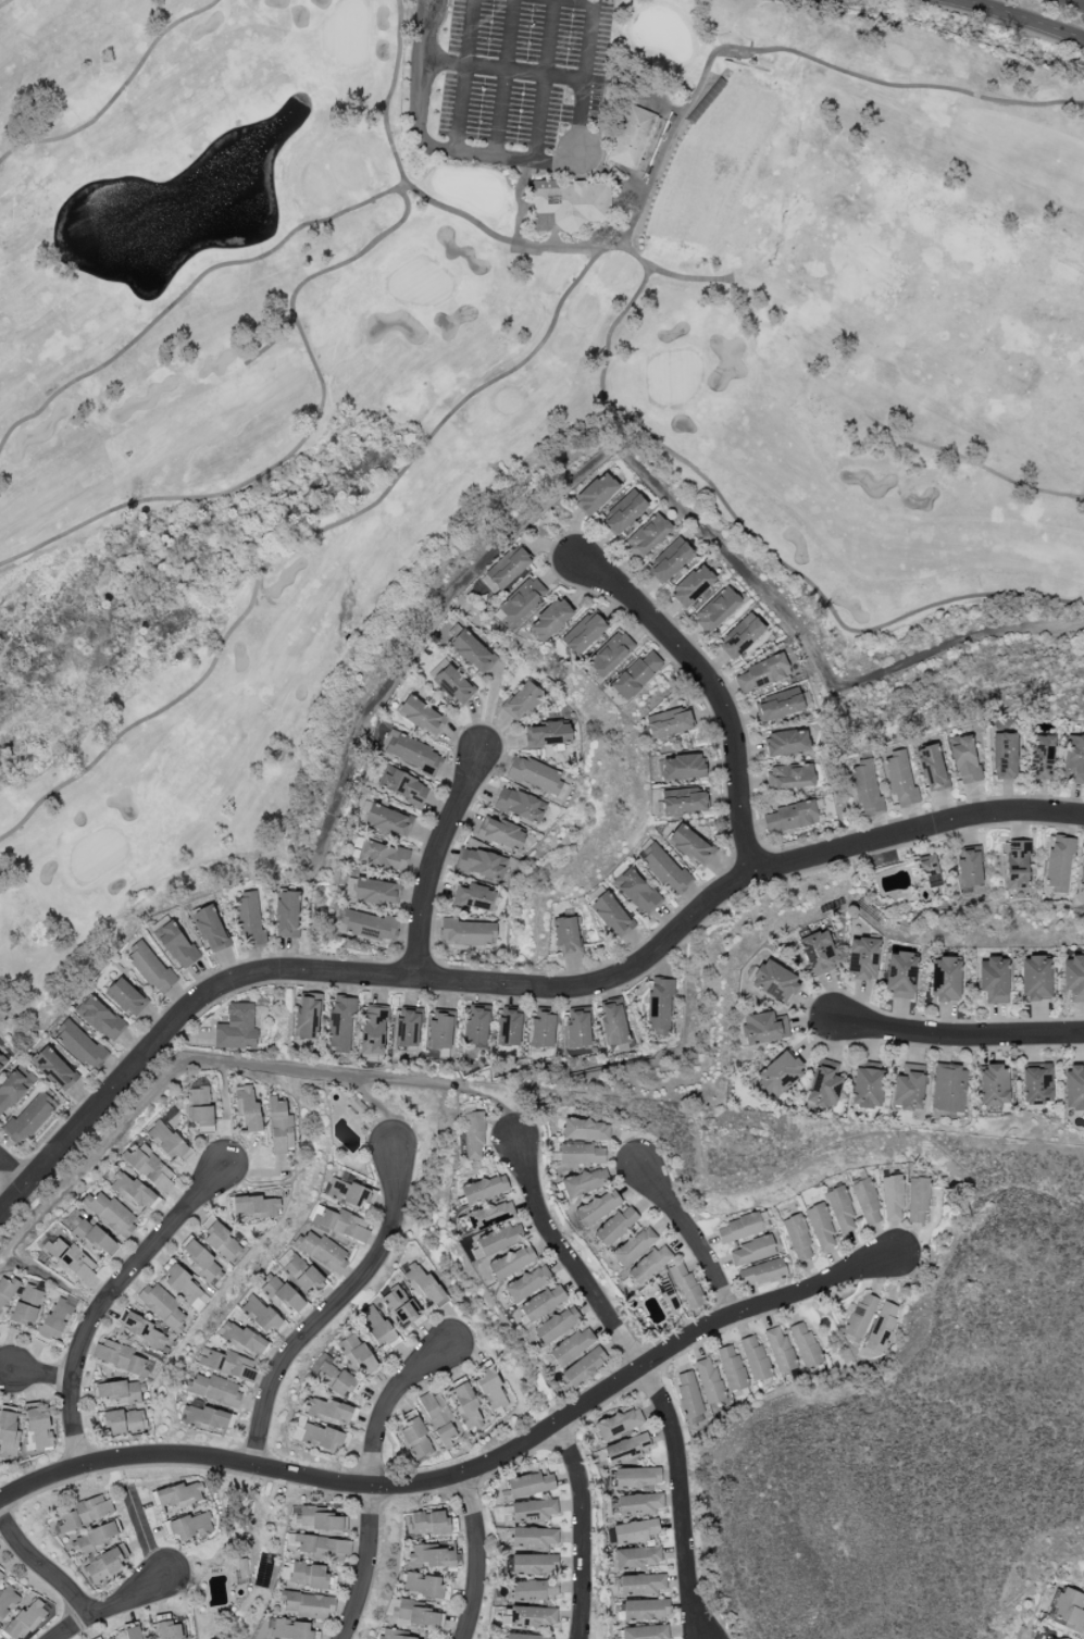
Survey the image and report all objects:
road: (583, 1)
road: (1074, 2)
road: (1020, 17)
road: (507, 70)
road: (461, 75)
road: (502, 77)
road: (543, 80)
road: (583, 84)
building: (632, 137)
road: (431, 141)
building: (568, 206)
park: (502, 375)
building: (596, 494)
building: (624, 513)
building: (647, 536)
building: (669, 560)
building: (507, 568)
building: (691, 586)
building: (521, 600)
building: (717, 609)
building: (549, 620)
building: (583, 634)
building: (742, 636)
building: (472, 651)
building: (608, 654)
building: (762, 673)
building: (633, 676)
road: (709, 683)
building: (453, 685)
building: (522, 701)
building: (782, 704)
building: (662, 715)
building: (421, 716)
building: (670, 727)
building: (549, 735)
building: (786, 743)
building: (411, 753)
building: (1004, 756)
building: (1042, 758)
building: (964, 759)
building: (1073, 759)
building: (683, 767)
building: (931, 768)
building: (534, 775)
building: (790, 778)
building: (900, 780)
building: (404, 787)
building: (865, 790)
building: (684, 800)
building: (520, 806)
building: (793, 817)
building: (387, 821)
building: (501, 833)
building: (689, 845)
building: (383, 856)
road: (432, 858)
building: (481, 864)
building: (1017, 865)
building: (1058, 865)
building: (969, 867)
building: (663, 869)
building: (929, 869)
building: (1082, 877)
building: (635, 891)
building: (376, 892)
building: (474, 897)
building: (286, 915)
building: (611, 915)
building: (248, 918)
building: (365, 926)
building: (210, 930)
building: (468, 932)
building: (565, 936)
building: (176, 945)
building: (819, 953)
building: (861, 959)
building: (150, 968)
building: (900, 976)
building: (1073, 978)
building: (1035, 979)
building: (945, 980)
building: (993, 980)
building: (775, 982)
road: (516, 983)
building: (126, 996)
building: (659, 1005)
building: (307, 1017)
building: (100, 1018)
building: (613, 1023)
building: (340, 1026)
building: (475, 1027)
building: (236, 1028)
building: (408, 1029)
building: (508, 1029)
building: (543, 1029)
building: (763, 1029)
building: (577, 1030)
building: (372, 1031)
building: (440, 1031)
road: (960, 1035)
building: (78, 1044)
building: (2, 1063)
road: (227, 1063)
building: (53, 1069)
building: (780, 1073)
building: (823, 1084)
building: (993, 1084)
building: (908, 1087)
building: (14, 1088)
building: (865, 1088)
building: (948, 1089)
building: (1073, 1089)
building: (198, 1103)
road: (379, 1109)
building: (248, 1110)
road: (226, 1113)
building: (30, 1116)
building: (281, 1128)
building: (585, 1130)
building: (473, 1135)
building: (165, 1140)
building: (581, 1154)
building: (149, 1167)
road: (10, 1172)
building: (584, 1182)
building: (484, 1189)
building: (132, 1191)
building: (347, 1193)
building: (892, 1199)
building: (918, 1200)
building: (867, 1203)
building: (253, 1206)
building: (597, 1207)
building: (840, 1209)
building: (111, 1213)
building: (490, 1215)
building: (340, 1224)
building: (615, 1226)
building: (821, 1227)
building: (739, 1229)
building: (88, 1233)
road: (694, 1234)
building: (797, 1238)
building: (498, 1240)
building: (220, 1241)
building: (634, 1246)
building: (751, 1251)
building: (323, 1252)
building: (71, 1259)
building: (201, 1262)
building: (510, 1262)
building: (649, 1265)
building: (301, 1274)
building: (761, 1274)
road: (51, 1279)
building: (180, 1282)
building: (527, 1283)
building: (685, 1287)
building: (7, 1291)
building: (281, 1296)
road: (107, 1297)
building: (199, 1302)
building: (543, 1303)
building: (27, 1305)
building: (162, 1306)
building: (399, 1306)
road: (331, 1307)
building: (259, 1315)
building: (860, 1317)
building: (55, 1319)
building: (557, 1325)
building: (374, 1326)
building: (882, 1328)
building: (142, 1332)
building: (241, 1339)
building: (805, 1344)
building: (572, 1346)
building: (780, 1350)
building: (358, 1355)
building: (120, 1357)
building: (755, 1359)
building: (227, 1364)
road: (4, 1366)
building: (584, 1367)
building: (731, 1368)
road: (40, 1374)
building: (329, 1375)
road: (646, 1375)
building: (709, 1380)
building: (214, 1390)
building: (491, 1391)
building: (117, 1392)
building: (688, 1395)
building: (466, 1408)
building: (328, 1411)
building: (203, 1417)
building: (438, 1418)
building: (121, 1421)
building: (619, 1424)
building: (39, 1429)
building: (8, 1433)
building: (320, 1438)
building: (415, 1439)
building: (625, 1449)
road: (469, 1472)
road: (372, 1477)
building: (637, 1477)
road: (252, 1478)
building: (529, 1485)
building: (176, 1495)
building: (639, 1504)
building: (533, 1511)
building: (84, 1513)
building: (315, 1519)
building: (426, 1523)
building: (188, 1526)
road: (584, 1528)
building: (635, 1532)
road: (142, 1534)
building: (533, 1538)
building: (94, 1539)
road: (235, 1543)
building: (323, 1548)
building: (433, 1556)
road: (475, 1556)
building: (637, 1557)
building: (534, 1564)
road: (42, 1565)
building: (103, 1565)
building: (242, 1568)
building: (309, 1576)
building: (0, 1577)
building: (422, 1585)
building: (641, 1585)
building: (533, 1591)
building: (7, 1601)
road: (112, 1603)
building: (307, 1604)
building: (645, 1610)
building: (1069, 1610)
building: (414, 1614)
building: (529, 1617)
building: (26, 1619)
building: (288, 1629)
building: (170, 1630)
building: (134, 1632)
building: (645, 1632)
building: (389, 1635)
building: (527, 1637)

